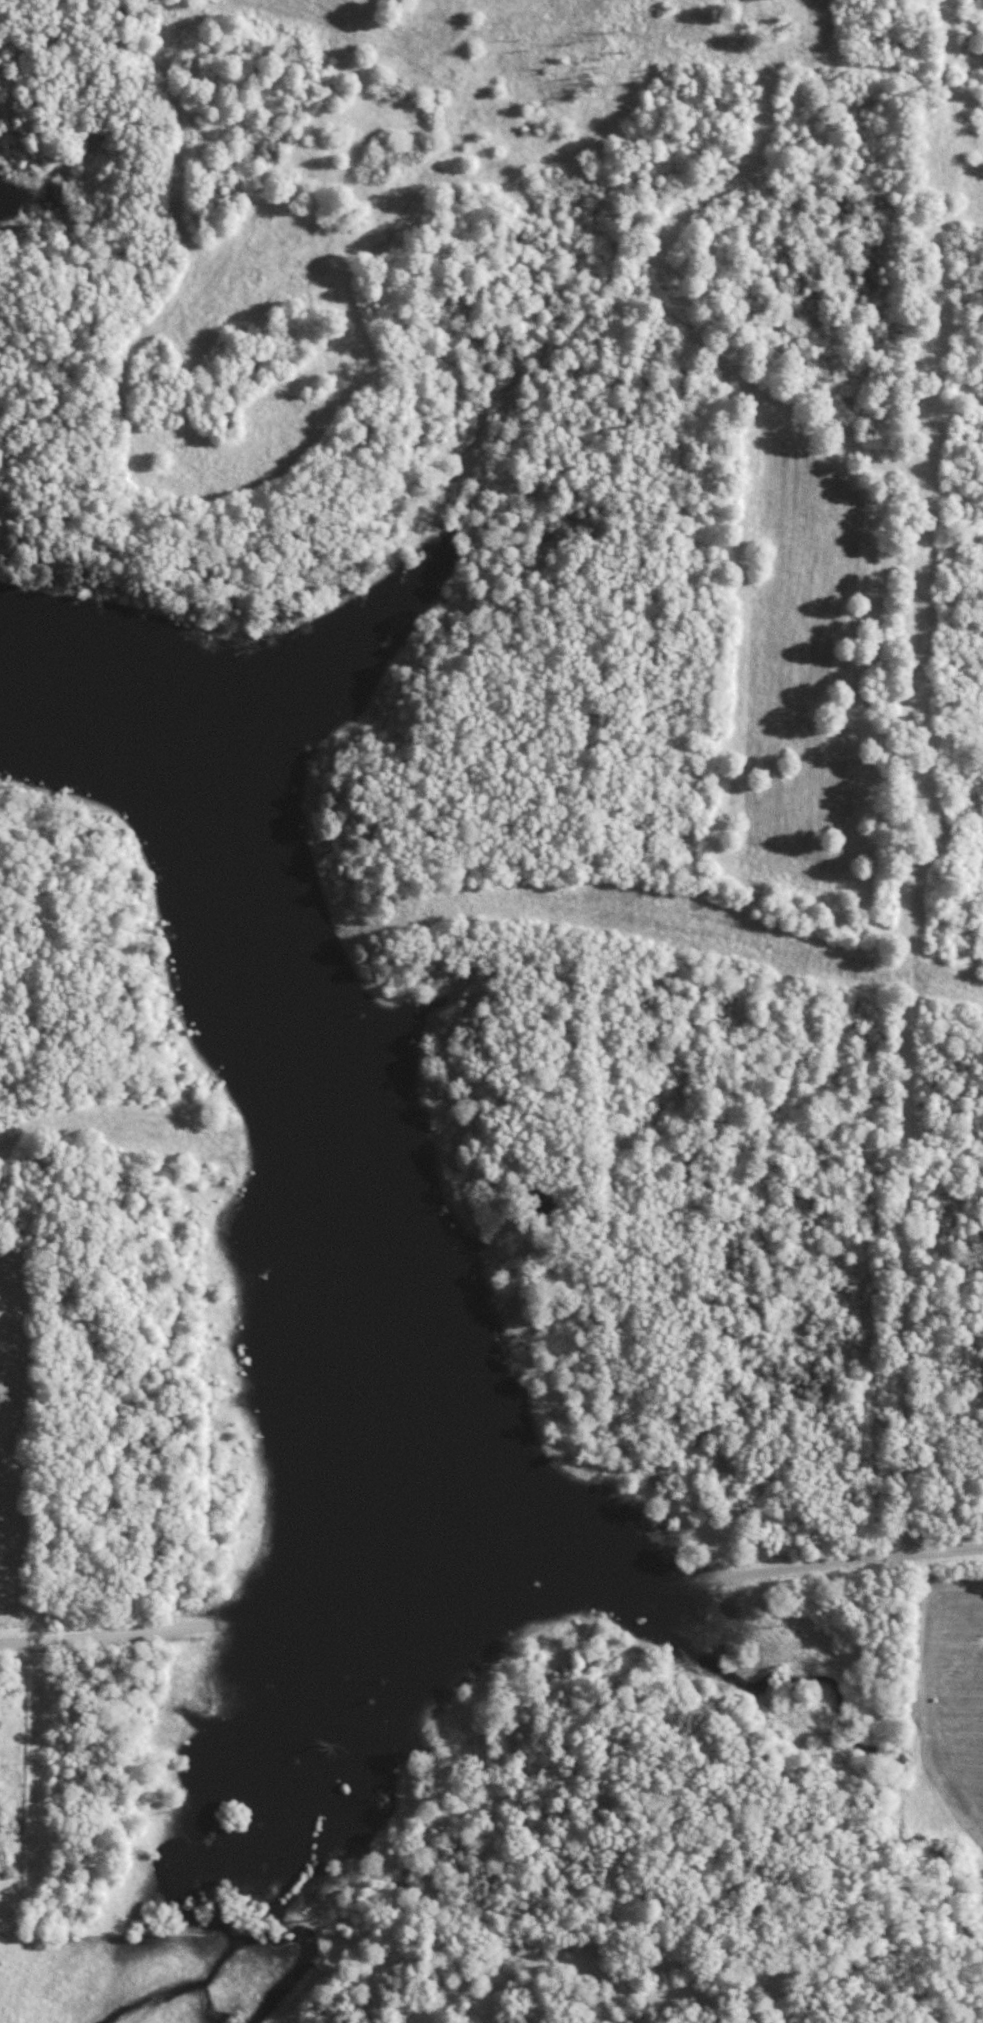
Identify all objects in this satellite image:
road: (687, 1582)
road: (195, 1627)

